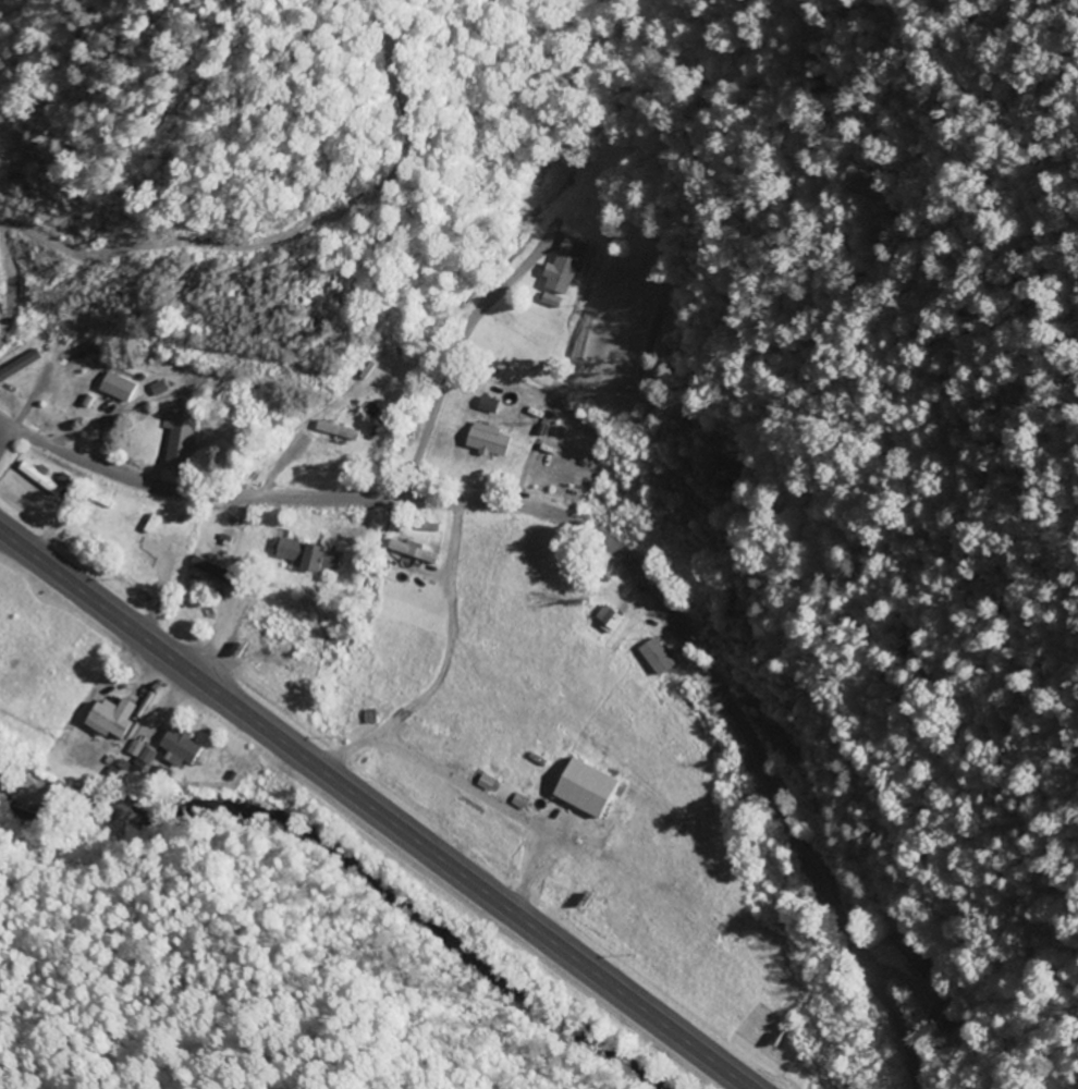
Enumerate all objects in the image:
building: (562, 265)
building: (17, 365)
building: (119, 388)
building: (491, 404)
building: (340, 430)
road: (4, 432)
building: (181, 436)
building: (491, 439)
building: (711, 473)
building: (40, 477)
building: (117, 503)
building: (425, 526)
road: (608, 544)
building: (416, 551)
building: (309, 554)
building: (319, 652)
building: (654, 654)
building: (118, 717)
building: (184, 745)
building: (222, 761)
building: (577, 788)
road: (373, 810)

